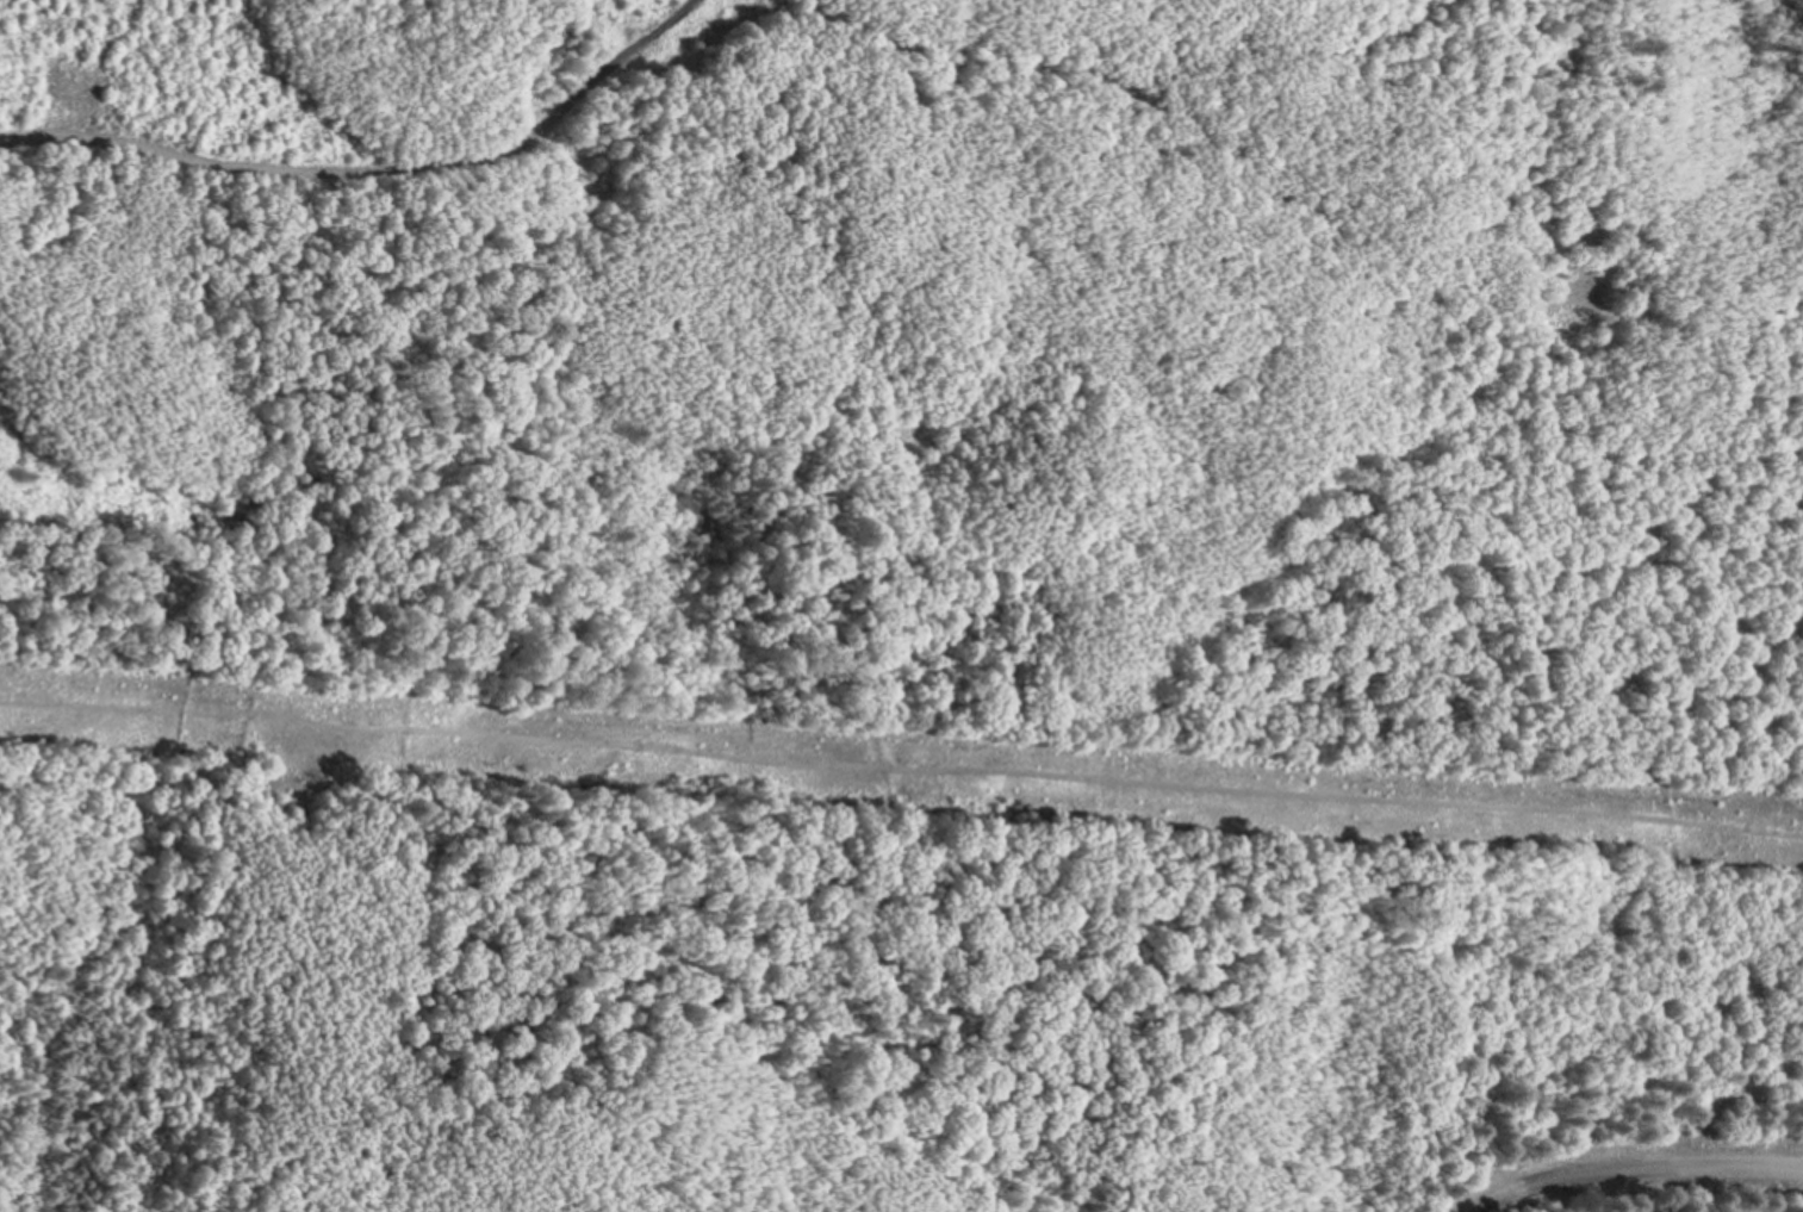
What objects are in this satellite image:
road: (901, 766)
road: (1631, 1168)

